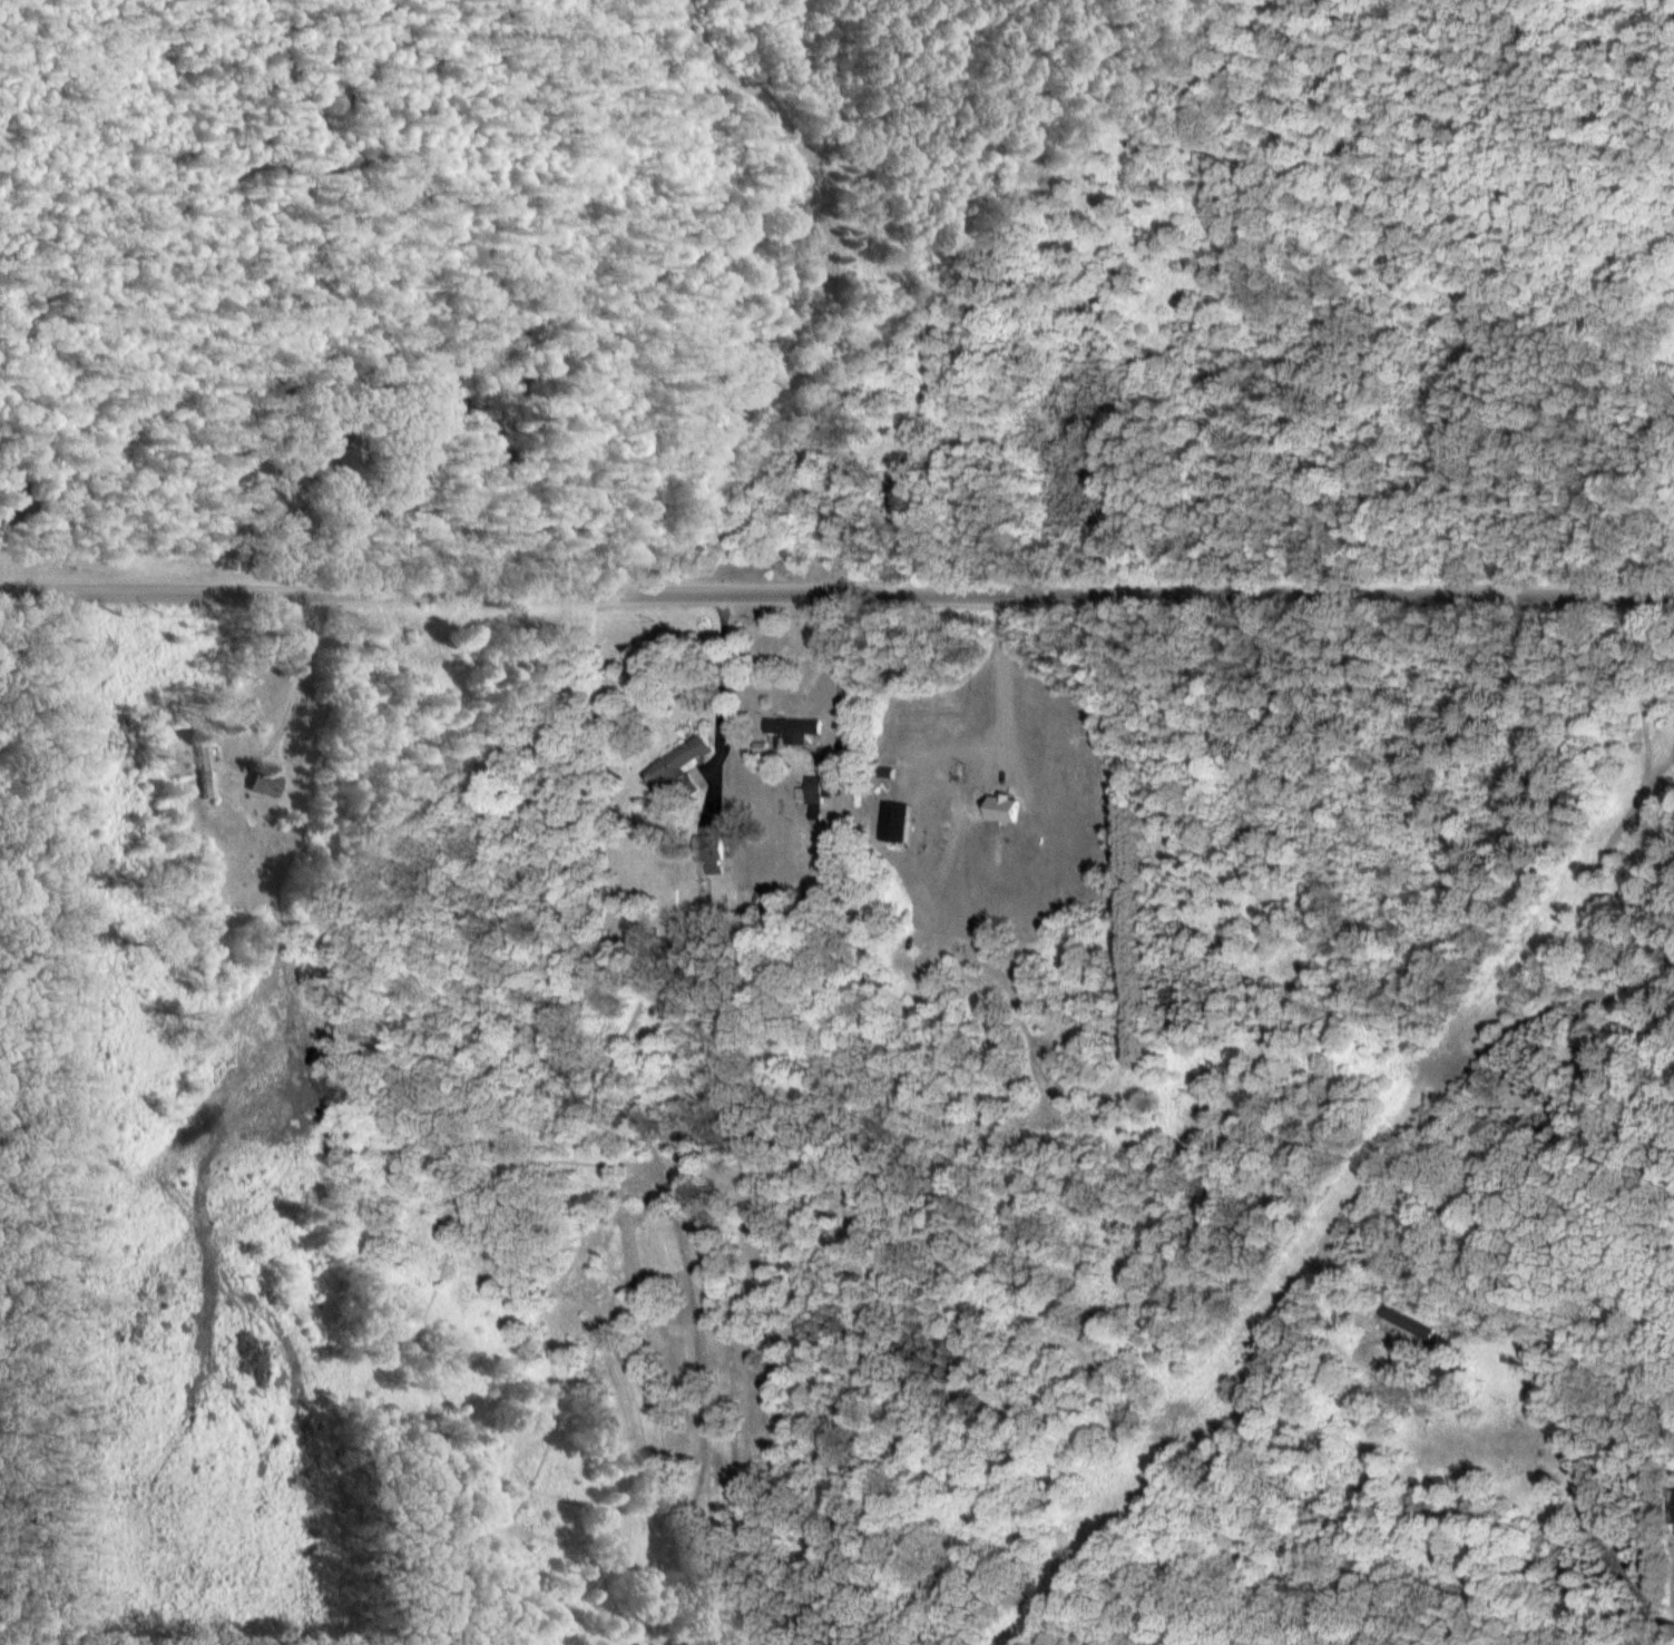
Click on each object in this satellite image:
road: (836, 597)
road: (1665, 606)
road: (1658, 687)
building: (794, 728)
building: (679, 766)
building: (811, 791)
building: (1004, 809)
building: (895, 822)
building: (709, 850)
building: (632, 861)

